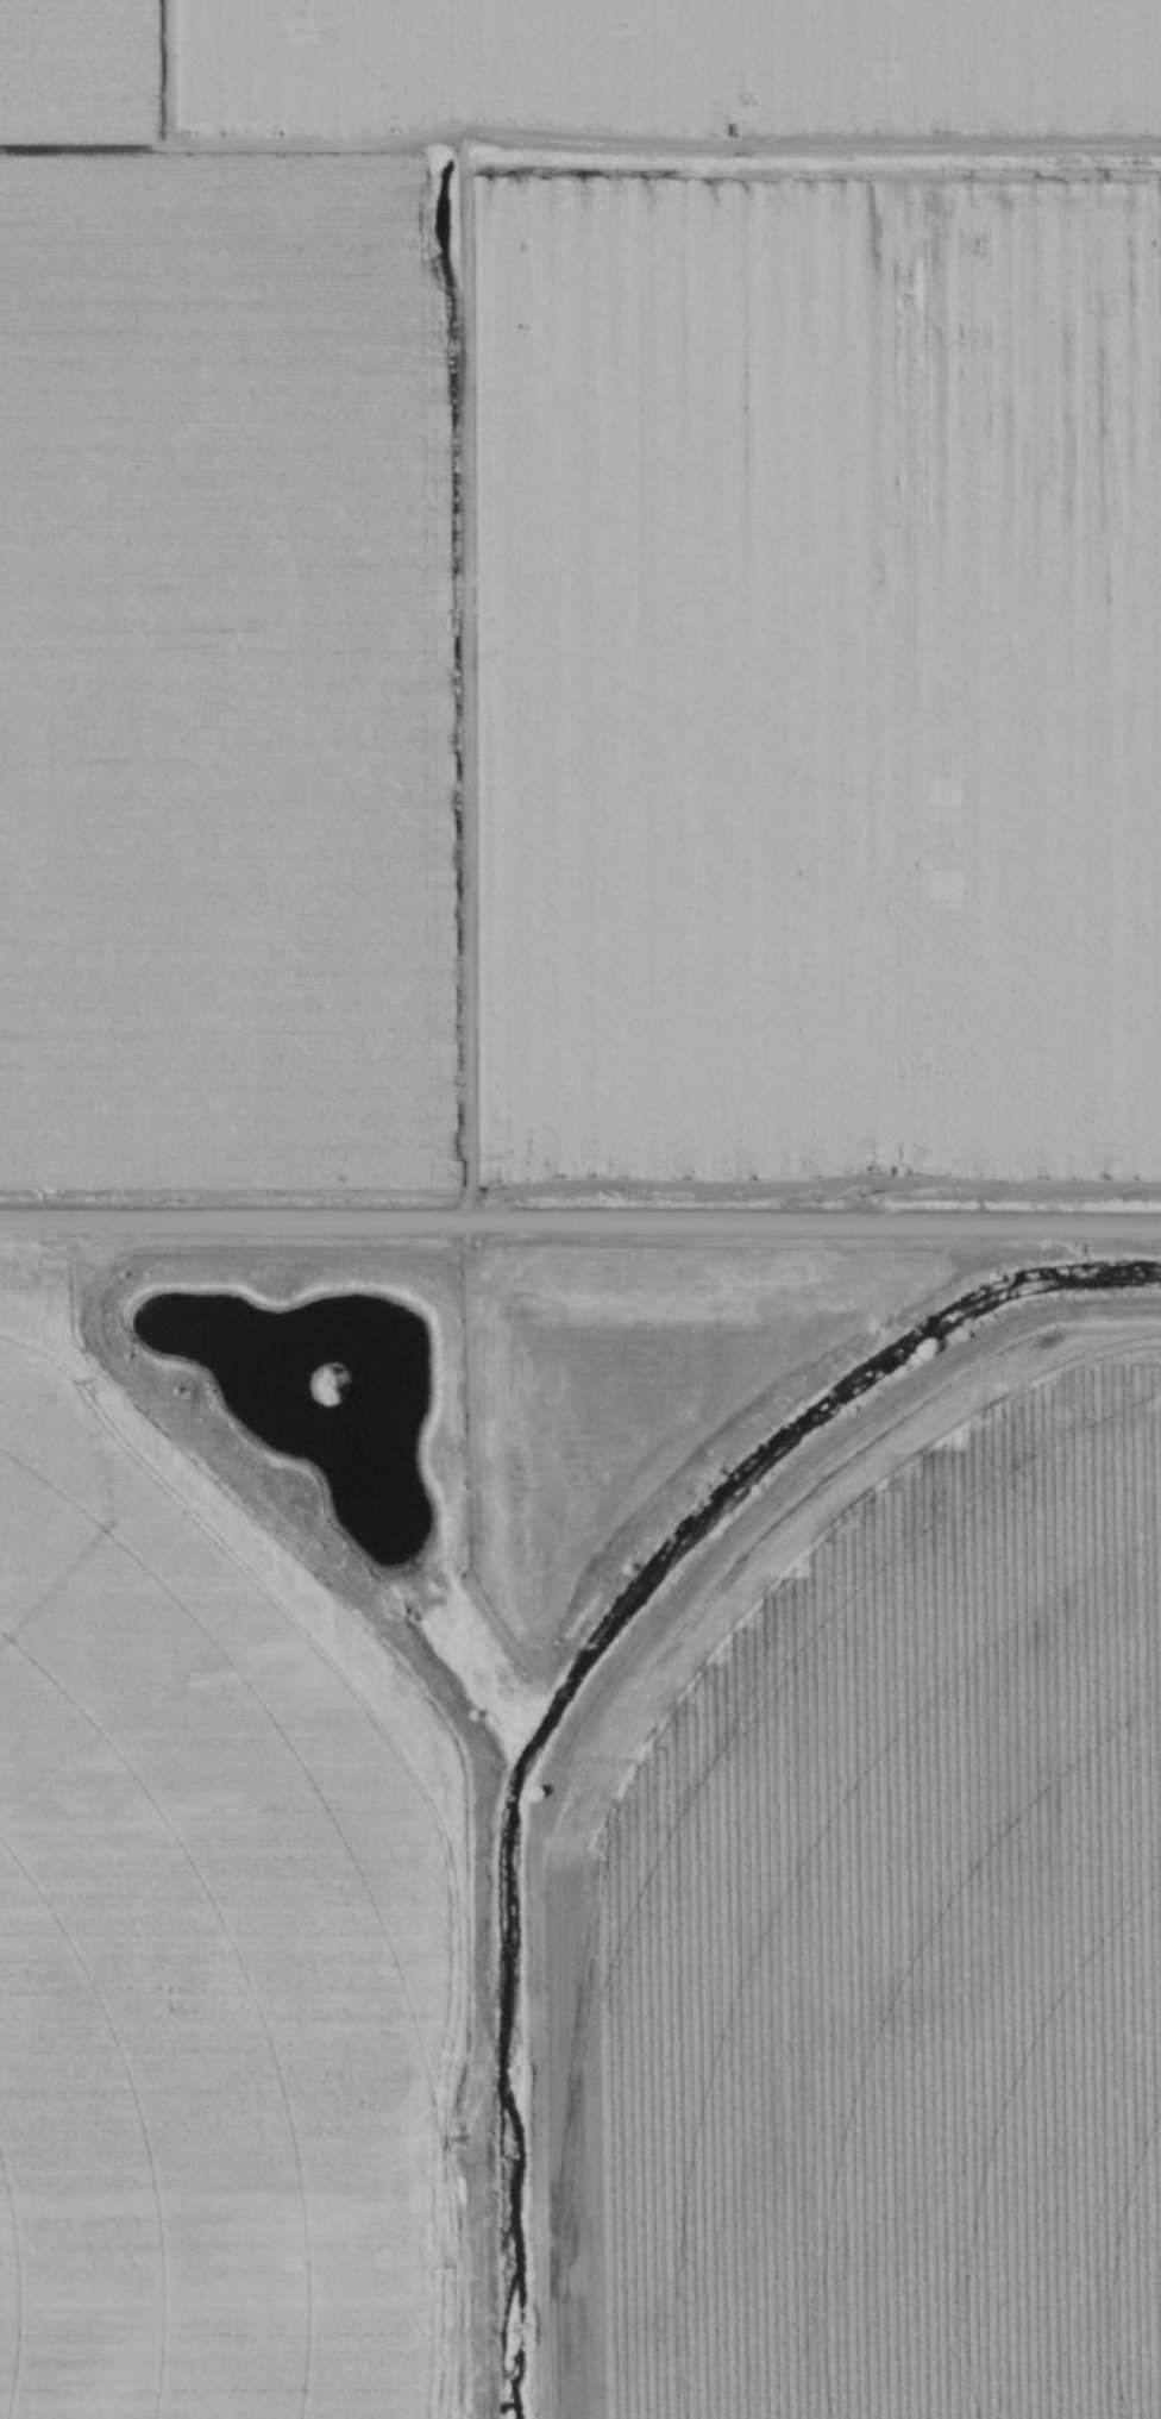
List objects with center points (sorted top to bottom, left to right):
road: (580, 1229)
building: (508, 1253)

